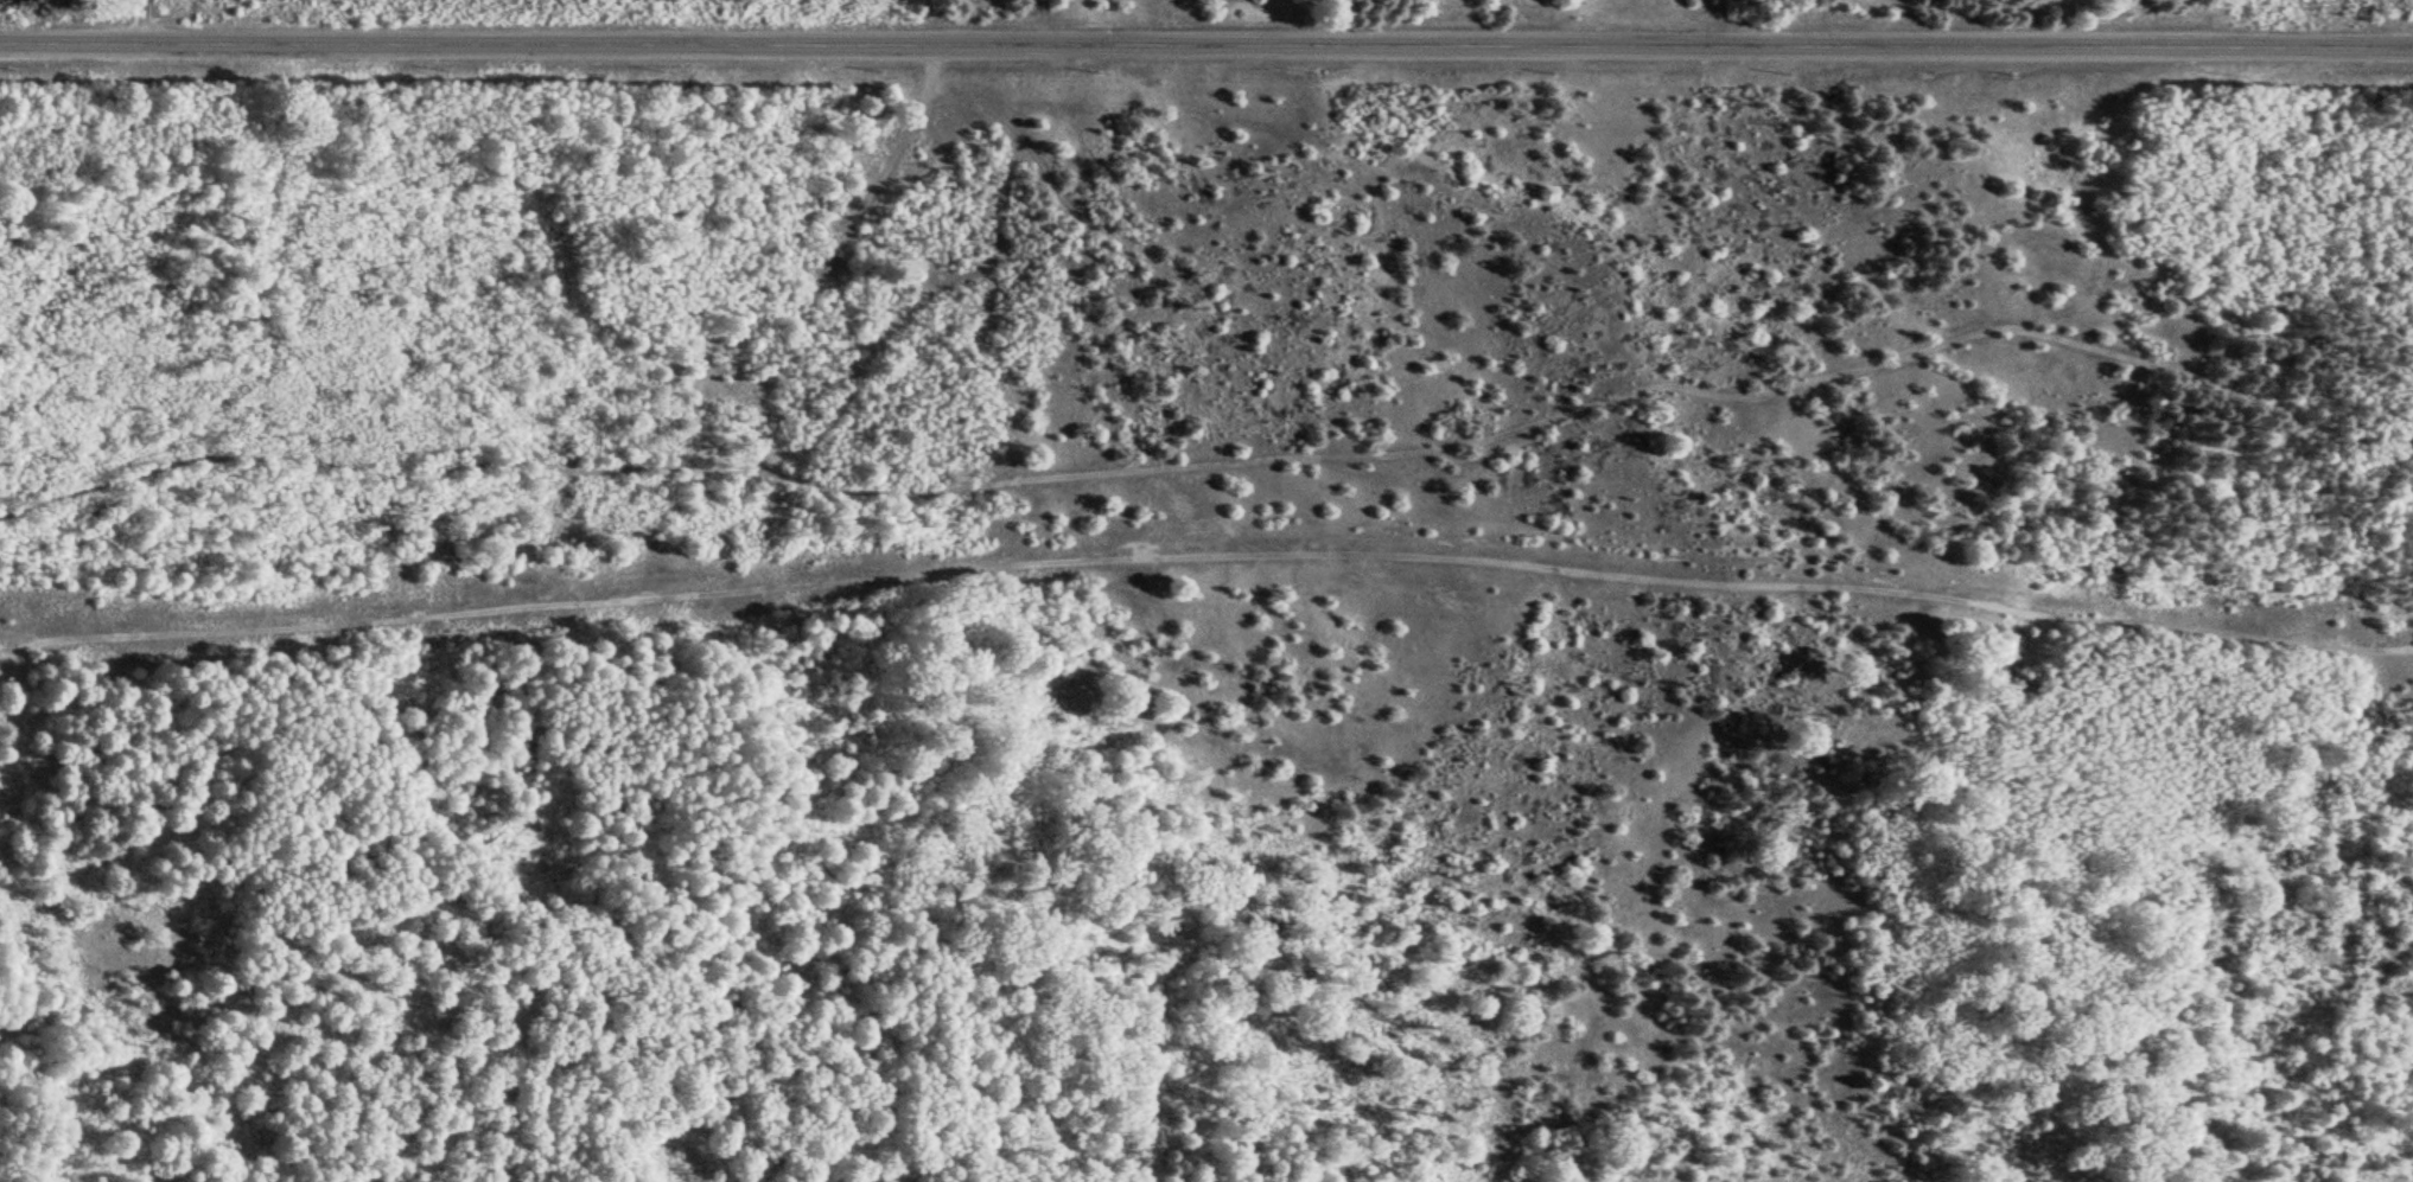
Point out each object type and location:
road: (151, 18)
road: (1205, 39)
road: (1712, 403)
road: (771, 474)
road: (1202, 562)
road: (1191, 678)
road: (622, 753)
road: (19, 844)

